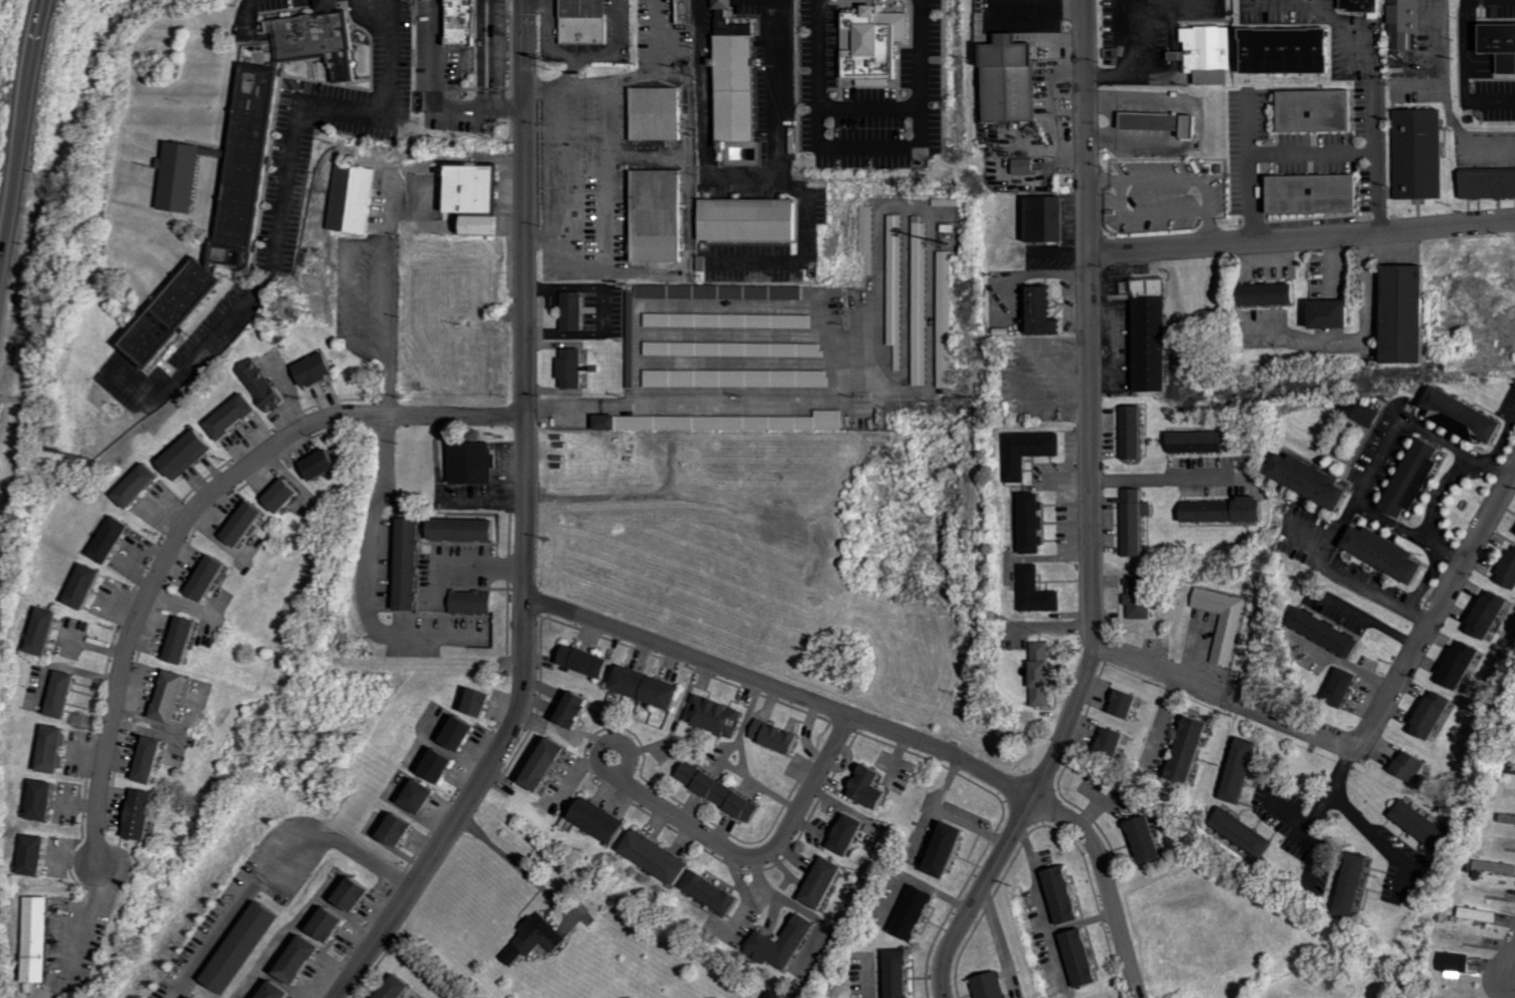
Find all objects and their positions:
road: (547, 1)
building: (1366, 6)
building: (687, 11)
road: (248, 16)
building: (591, 22)
building: (1409, 22)
gas station: (582, 25)
building: (464, 26)
road: (40, 28)
road: (43, 28)
building: (874, 41)
building: (1504, 46)
building: (1281, 50)
road: (571, 53)
road: (483, 54)
road: (494, 54)
building: (1209, 54)
road: (1151, 68)
road: (1465, 73)
building: (736, 76)
building: (1016, 82)
road: (1447, 95)
road: (435, 97)
road: (1373, 102)
road: (319, 107)
building: (657, 109)
building: (1320, 111)
building: (1164, 123)
road: (870, 148)
road: (1268, 151)
building: (1422, 155)
road: (19, 160)
building: (1027, 167)
building: (240, 171)
road: (747, 177)
building: (1490, 185)
building: (472, 189)
building: (1319, 195)
building: (947, 199)
building: (353, 201)
building: (655, 208)
building: (1050, 219)
building: (747, 223)
building: (868, 233)
road: (1302, 236)
building: (896, 282)
road: (1365, 284)
building: (720, 287)
building: (1275, 293)
building: (920, 297)
building: (572, 307)
building: (1050, 311)
building: (944, 313)
building: (1337, 313)
building: (1409, 313)
road: (347, 315)
building: (727, 318)
road: (1089, 321)
road: (1260, 327)
road: (391, 328)
building: (1153, 331)
building: (631, 339)
road: (1365, 344)
building: (734, 347)
road: (193, 357)
building: (574, 364)
building: (315, 370)
building: (736, 375)
building: (260, 379)
road: (695, 401)
building: (231, 414)
building: (1371, 415)
building: (1469, 415)
building: (724, 419)
building: (1136, 432)
road: (1503, 440)
building: (1200, 441)
building: (186, 451)
building: (1030, 451)
building: (470, 459)
building: (321, 464)
road: (1159, 475)
building: (1422, 478)
building: (1317, 480)
building: (136, 484)
road: (1361, 491)
building: (283, 493)
road: (1439, 494)
building: (1228, 510)
road: (193, 513)
building: (1138, 521)
building: (1036, 522)
building: (245, 524)
building: (461, 524)
road: (526, 527)
road: (1411, 528)
building: (110, 536)
building: (1392, 552)
building: (408, 560)
building: (1510, 572)
road: (371, 574)
building: (208, 578)
building: (85, 583)
building: (1039, 591)
building: (1144, 597)
building: (471, 599)
road: (1440, 603)
building: (1493, 614)
road: (1369, 618)
building: (1227, 621)
building: (43, 627)
building: (1333, 632)
building: (180, 638)
building: (582, 662)
road: (1351, 664)
building: (1465, 664)
building: (1045, 673)
building: (645, 686)
building: (1348, 687)
building: (61, 693)
road: (1234, 695)
building: (168, 699)
building: (477, 703)
building: (1130, 703)
building: (575, 708)
building: (717, 711)
building: (1437, 714)
road: (897, 728)
building: (460, 734)
building: (781, 735)
road: (611, 739)
building: (1117, 741)
building: (52, 748)
building: (1193, 750)
building: (152, 756)
building: (1416, 765)
building: (545, 766)
building: (439, 767)
building: (1514, 769)
building: (1244, 771)
building: (720, 787)
building: (869, 787)
road: (1330, 794)
building: (43, 798)
building: (417, 798)
building: (141, 814)
road: (1289, 815)
building: (601, 818)
building: (1510, 818)
road: (1019, 819)
building: (1426, 826)
building: (398, 832)
building: (1245, 832)
building: (849, 837)
road: (1381, 837)
building: (1152, 839)
building: (33, 853)
building: (659, 853)
road: (763, 854)
building: (947, 855)
road: (269, 860)
road: (515, 862)
building: (1497, 866)
building: (822, 882)
building: (1362, 884)
building: (716, 889)
building: (355, 894)
building: (1062, 895)
building: (1483, 914)
building: (915, 915)
building: (330, 925)
building: (536, 938)
building: (40, 939)
building: (788, 941)
building: (243, 948)
building: (1080, 957)
building: (301, 961)
road: (1511, 961)
building: (1460, 963)
building: (902, 974)
building: (992, 985)
building: (393, 987)
building: (280, 990)
building: (773, 994)
building: (194, 996)

